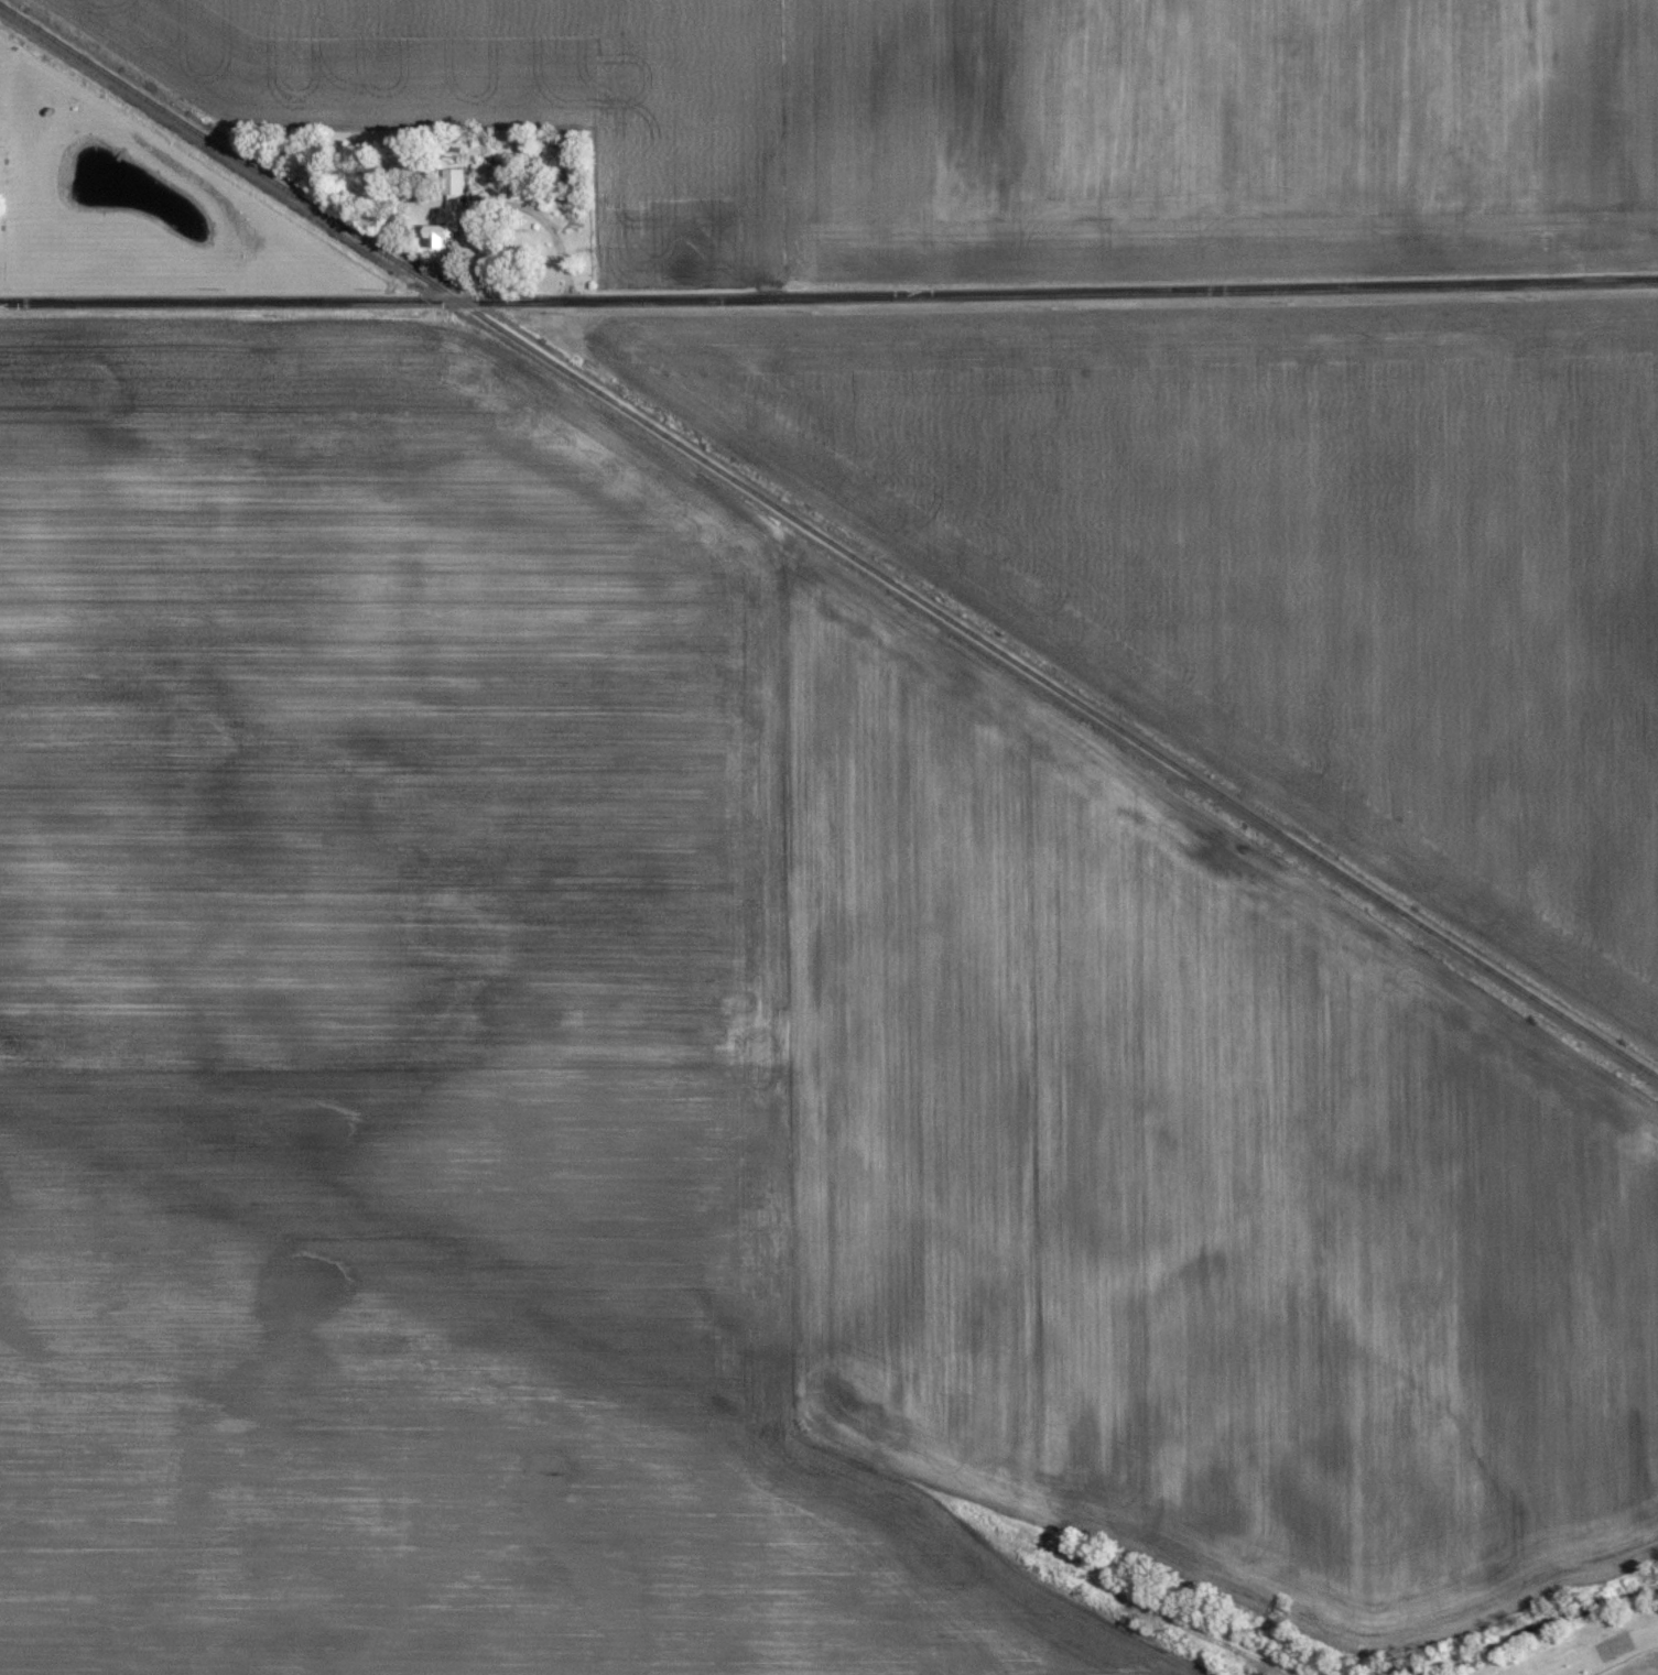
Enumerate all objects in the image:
building: (456, 181)
building: (445, 235)
road: (828, 293)
railway: (828, 541)

